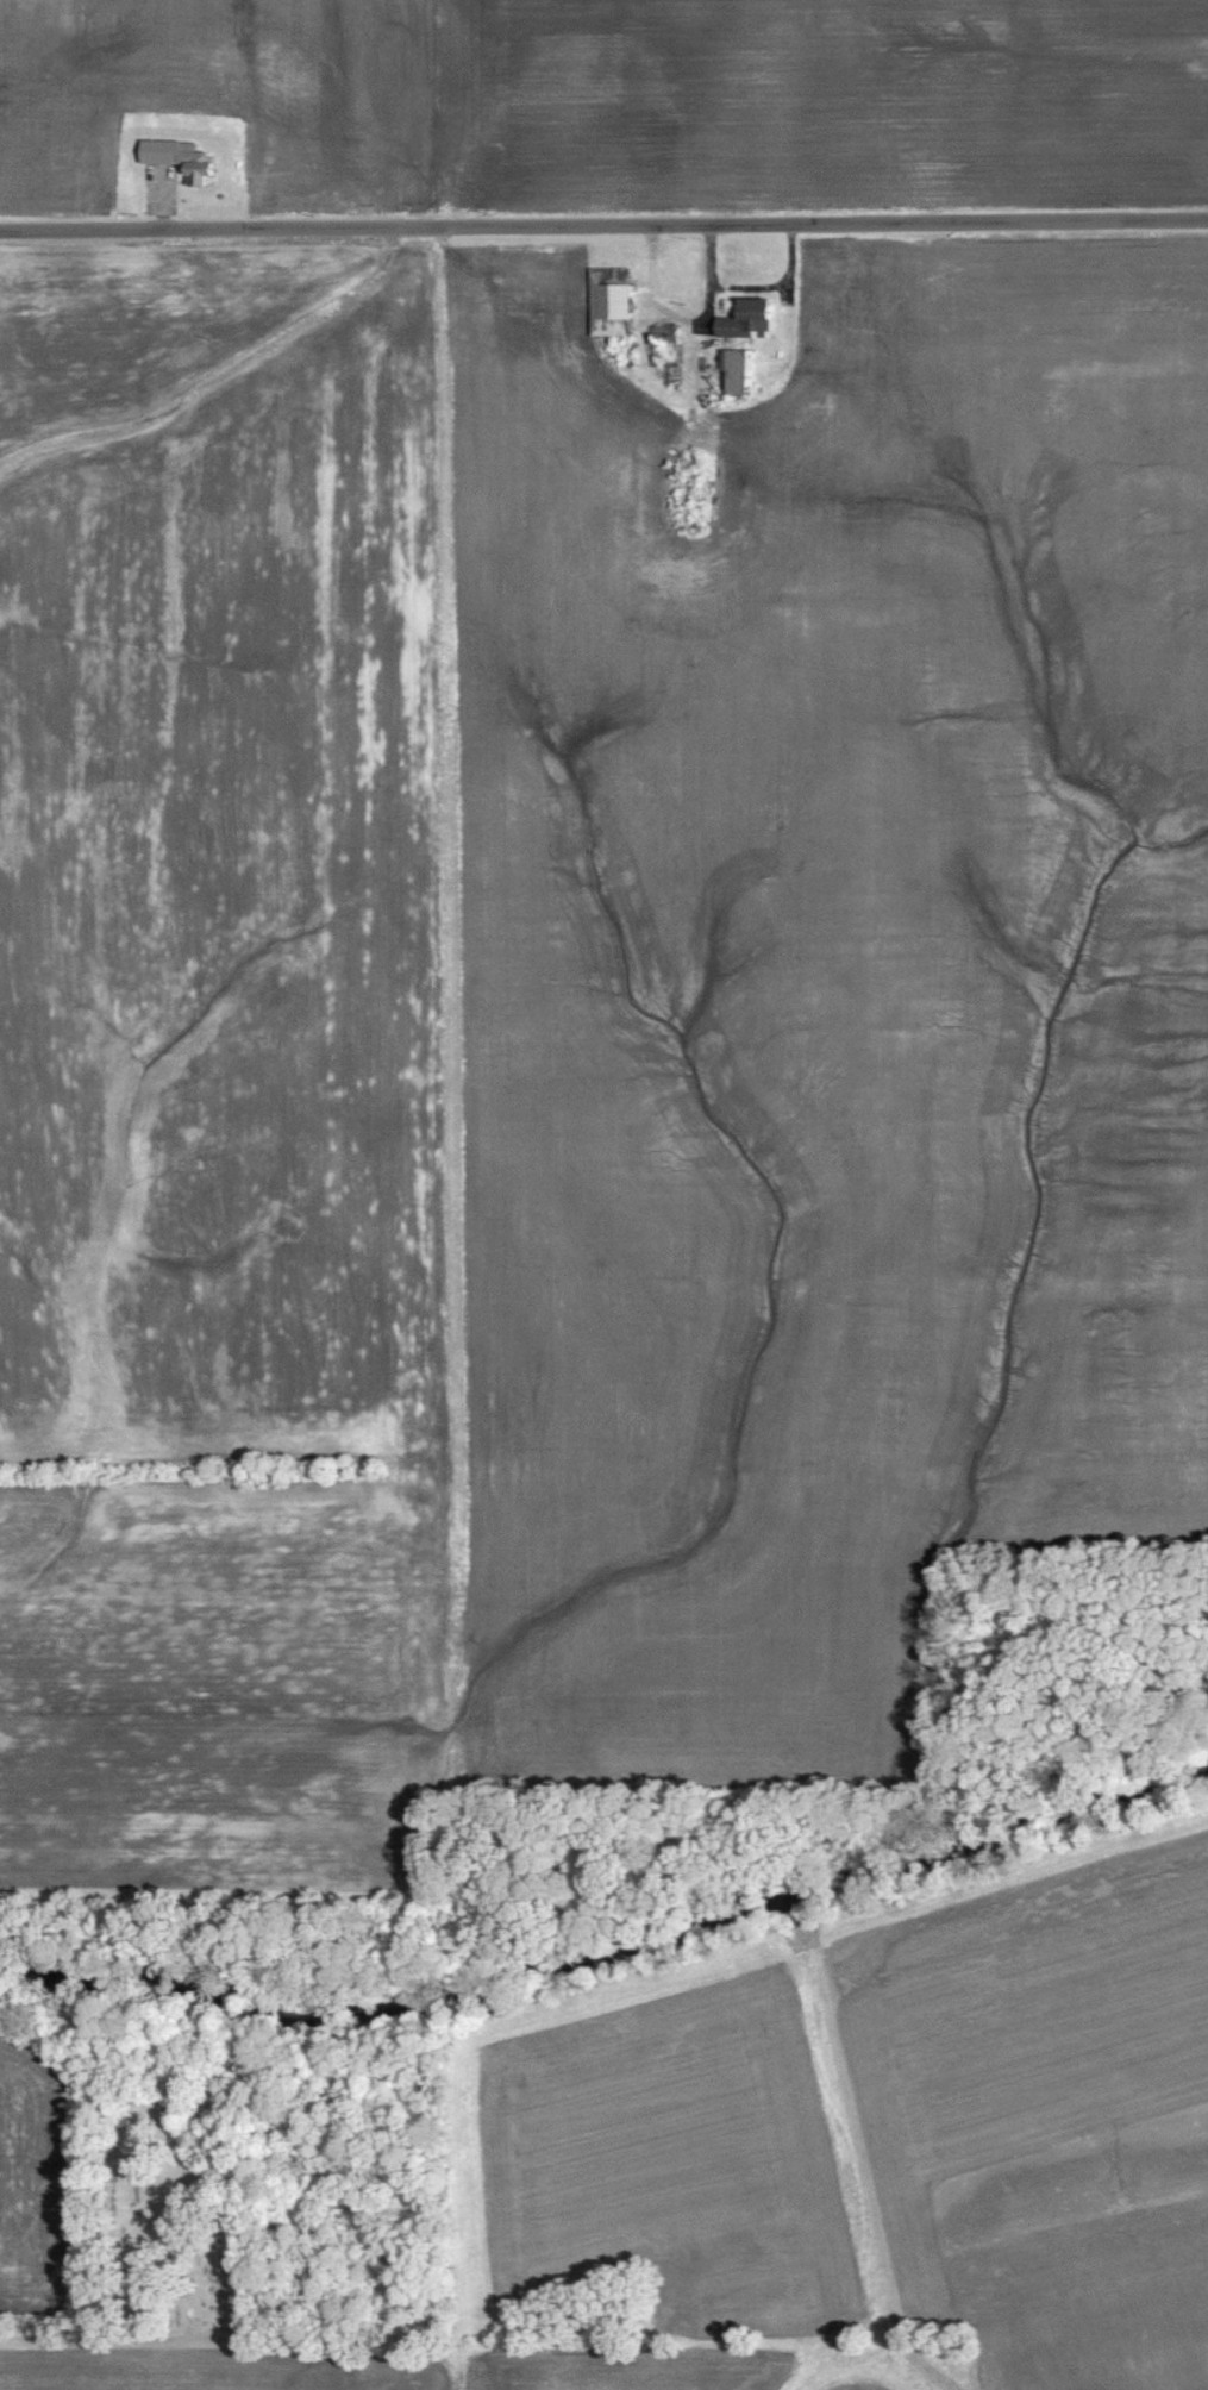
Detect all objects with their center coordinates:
road: (603, 223)
building: (608, 300)
building: (744, 317)
building: (663, 349)

